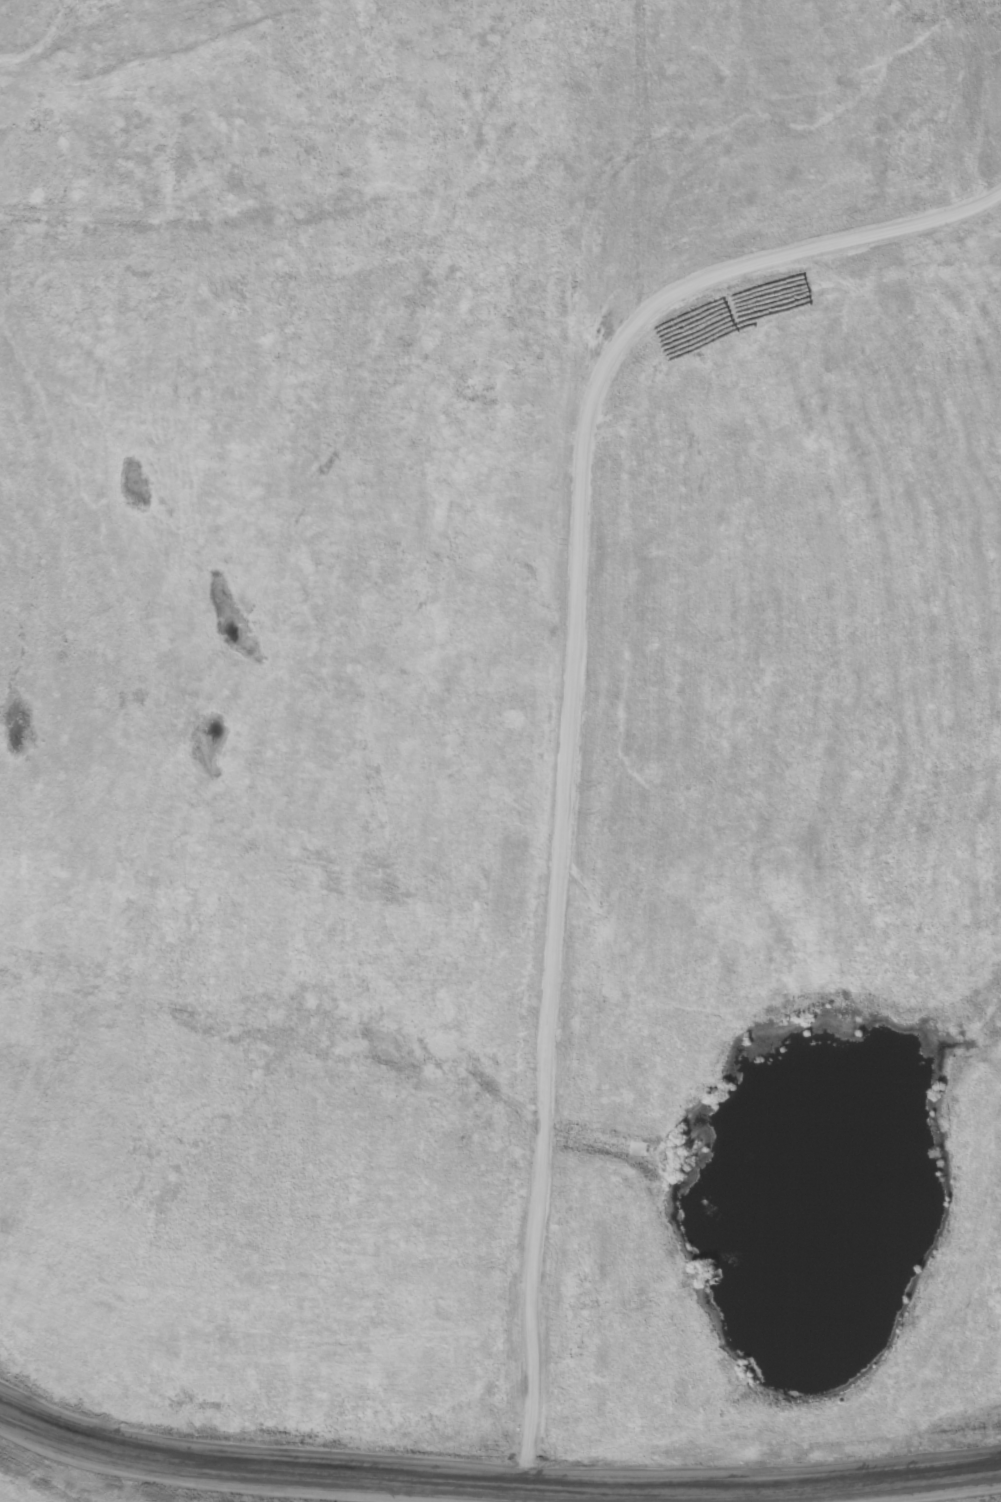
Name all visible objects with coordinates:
road: (573, 707)
quarry: (726, 921)
road: (491, 1489)

